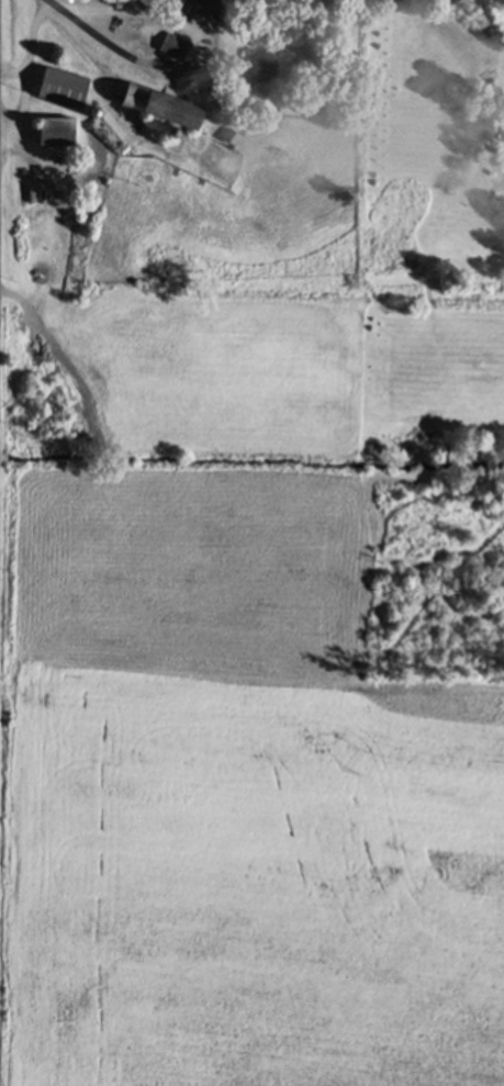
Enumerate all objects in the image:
building: (198, 5)
road: (110, 43)
building: (173, 44)
road: (13, 70)
road: (26, 74)
building: (262, 75)
building: (64, 86)
building: (167, 107)
building: (56, 130)
building: (232, 135)

